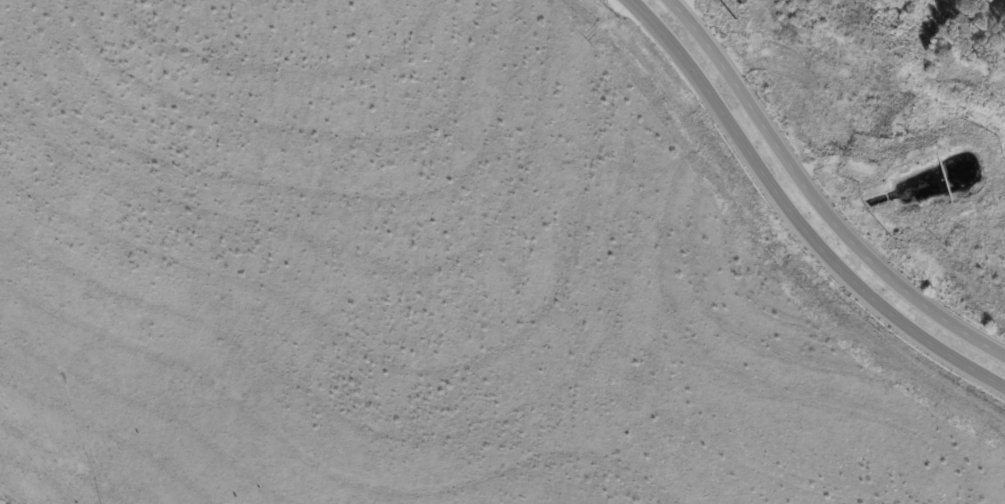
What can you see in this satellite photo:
road: (815, 200)
road: (791, 221)

